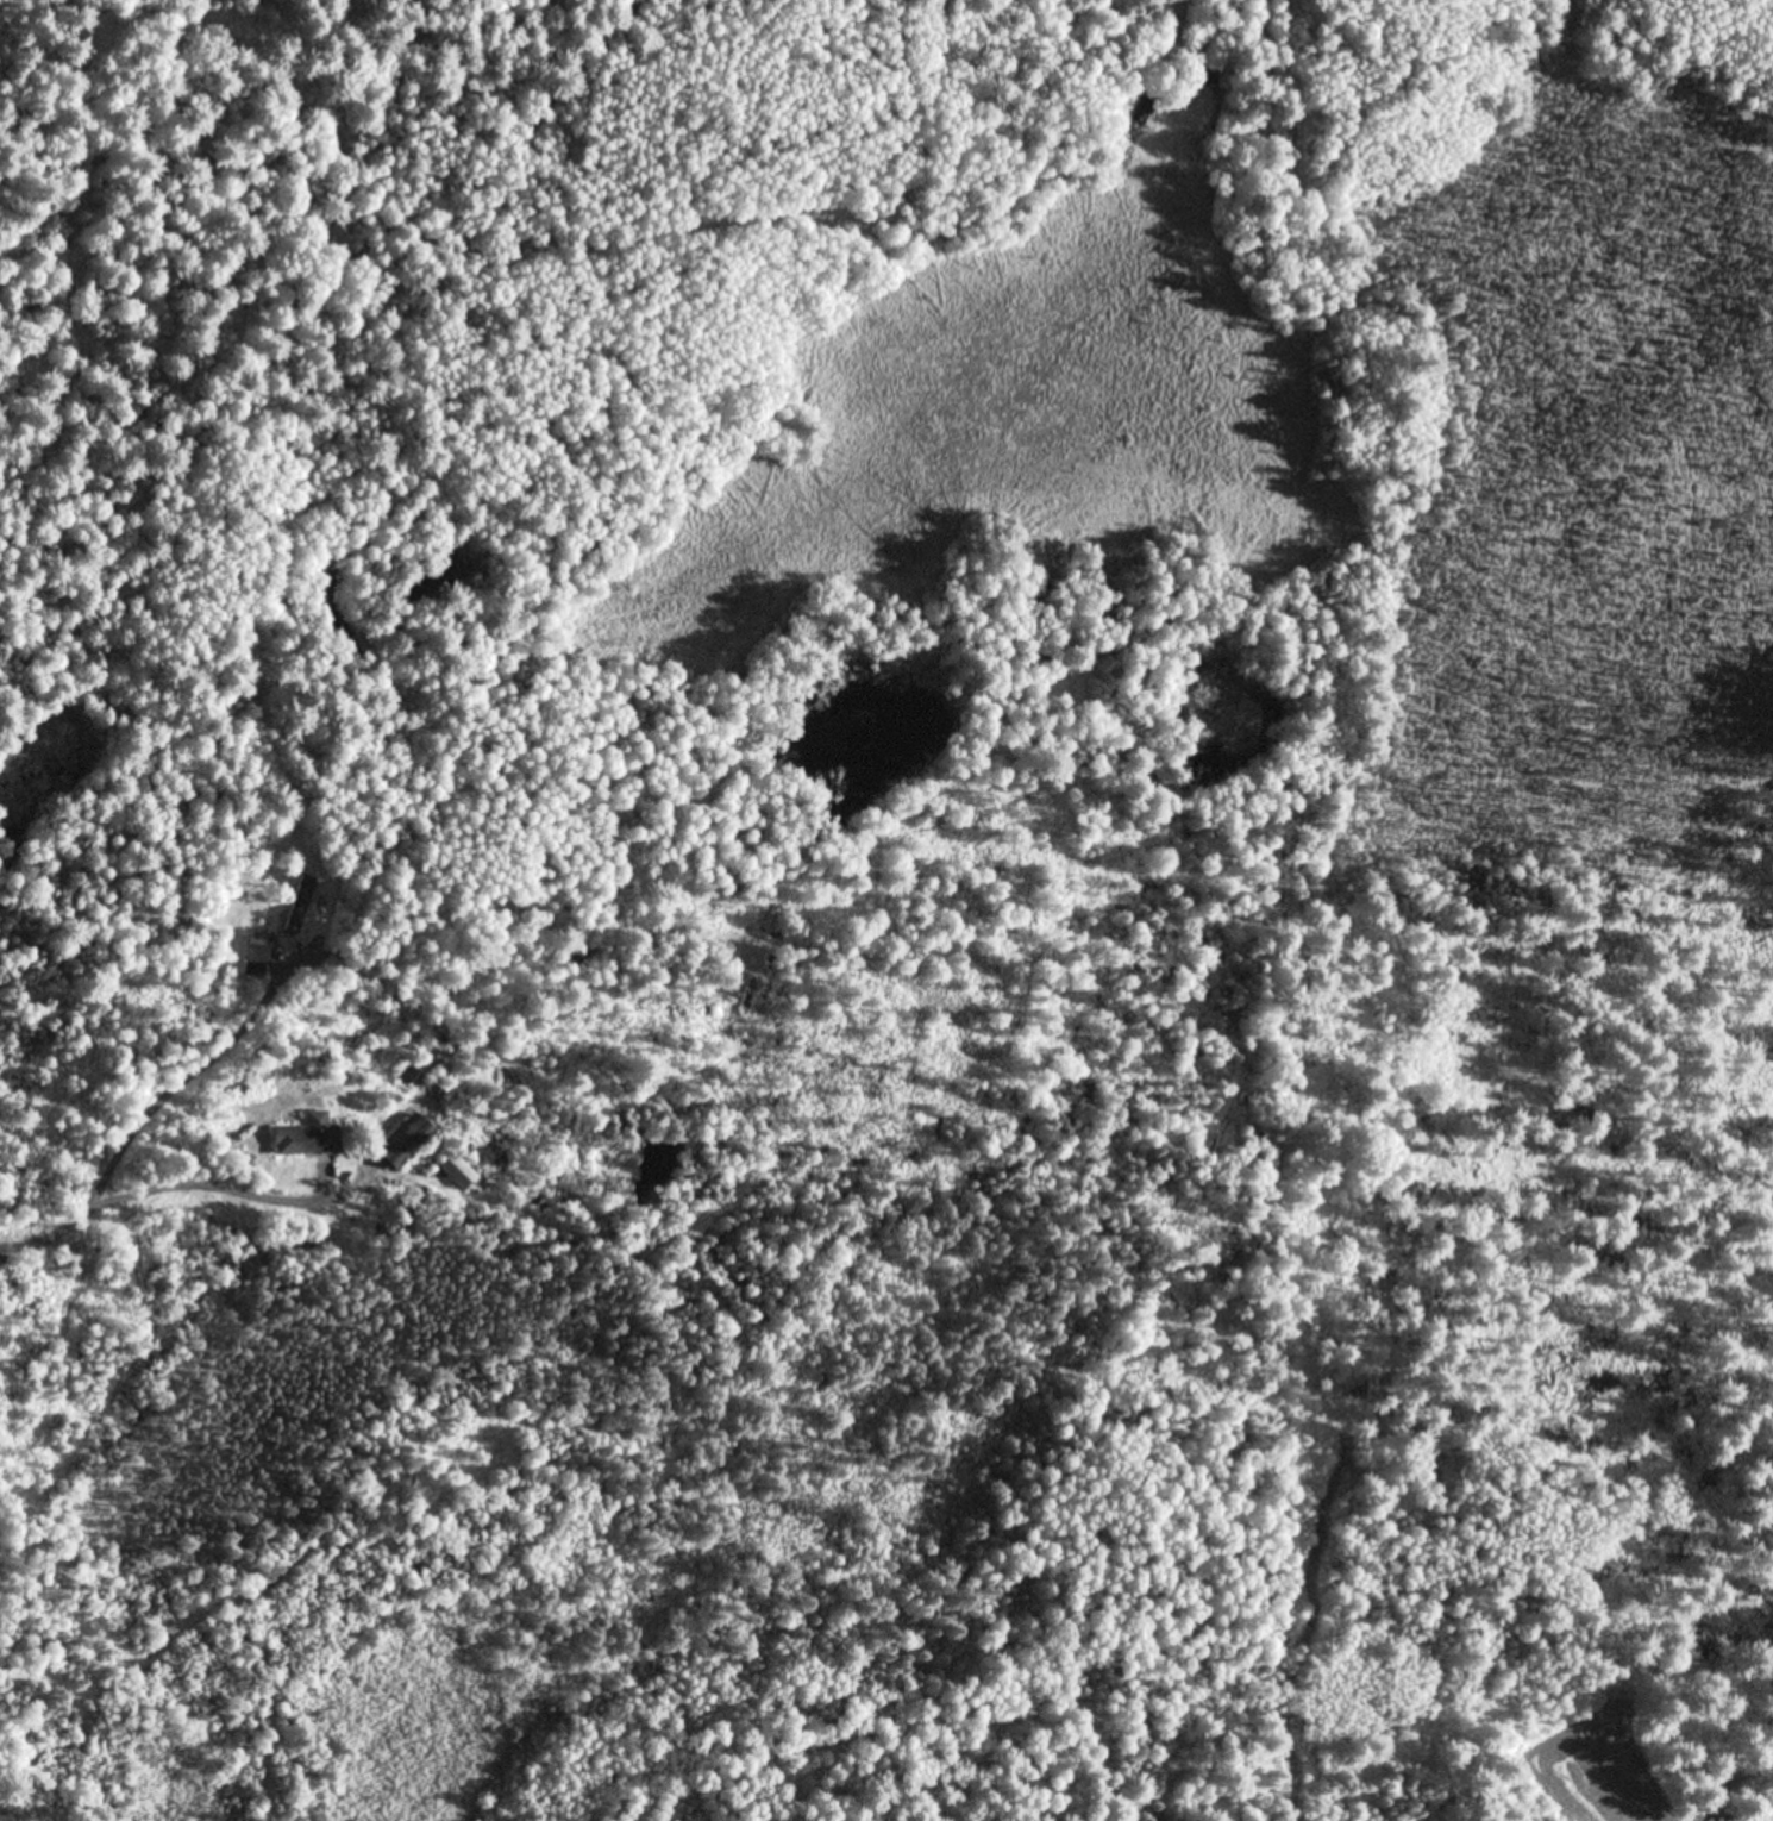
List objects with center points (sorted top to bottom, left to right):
building: (284, 932)
building: (257, 956)
building: (420, 1068)
building: (307, 1137)
building: (407, 1143)
road: (115, 1170)
building: (457, 1172)

